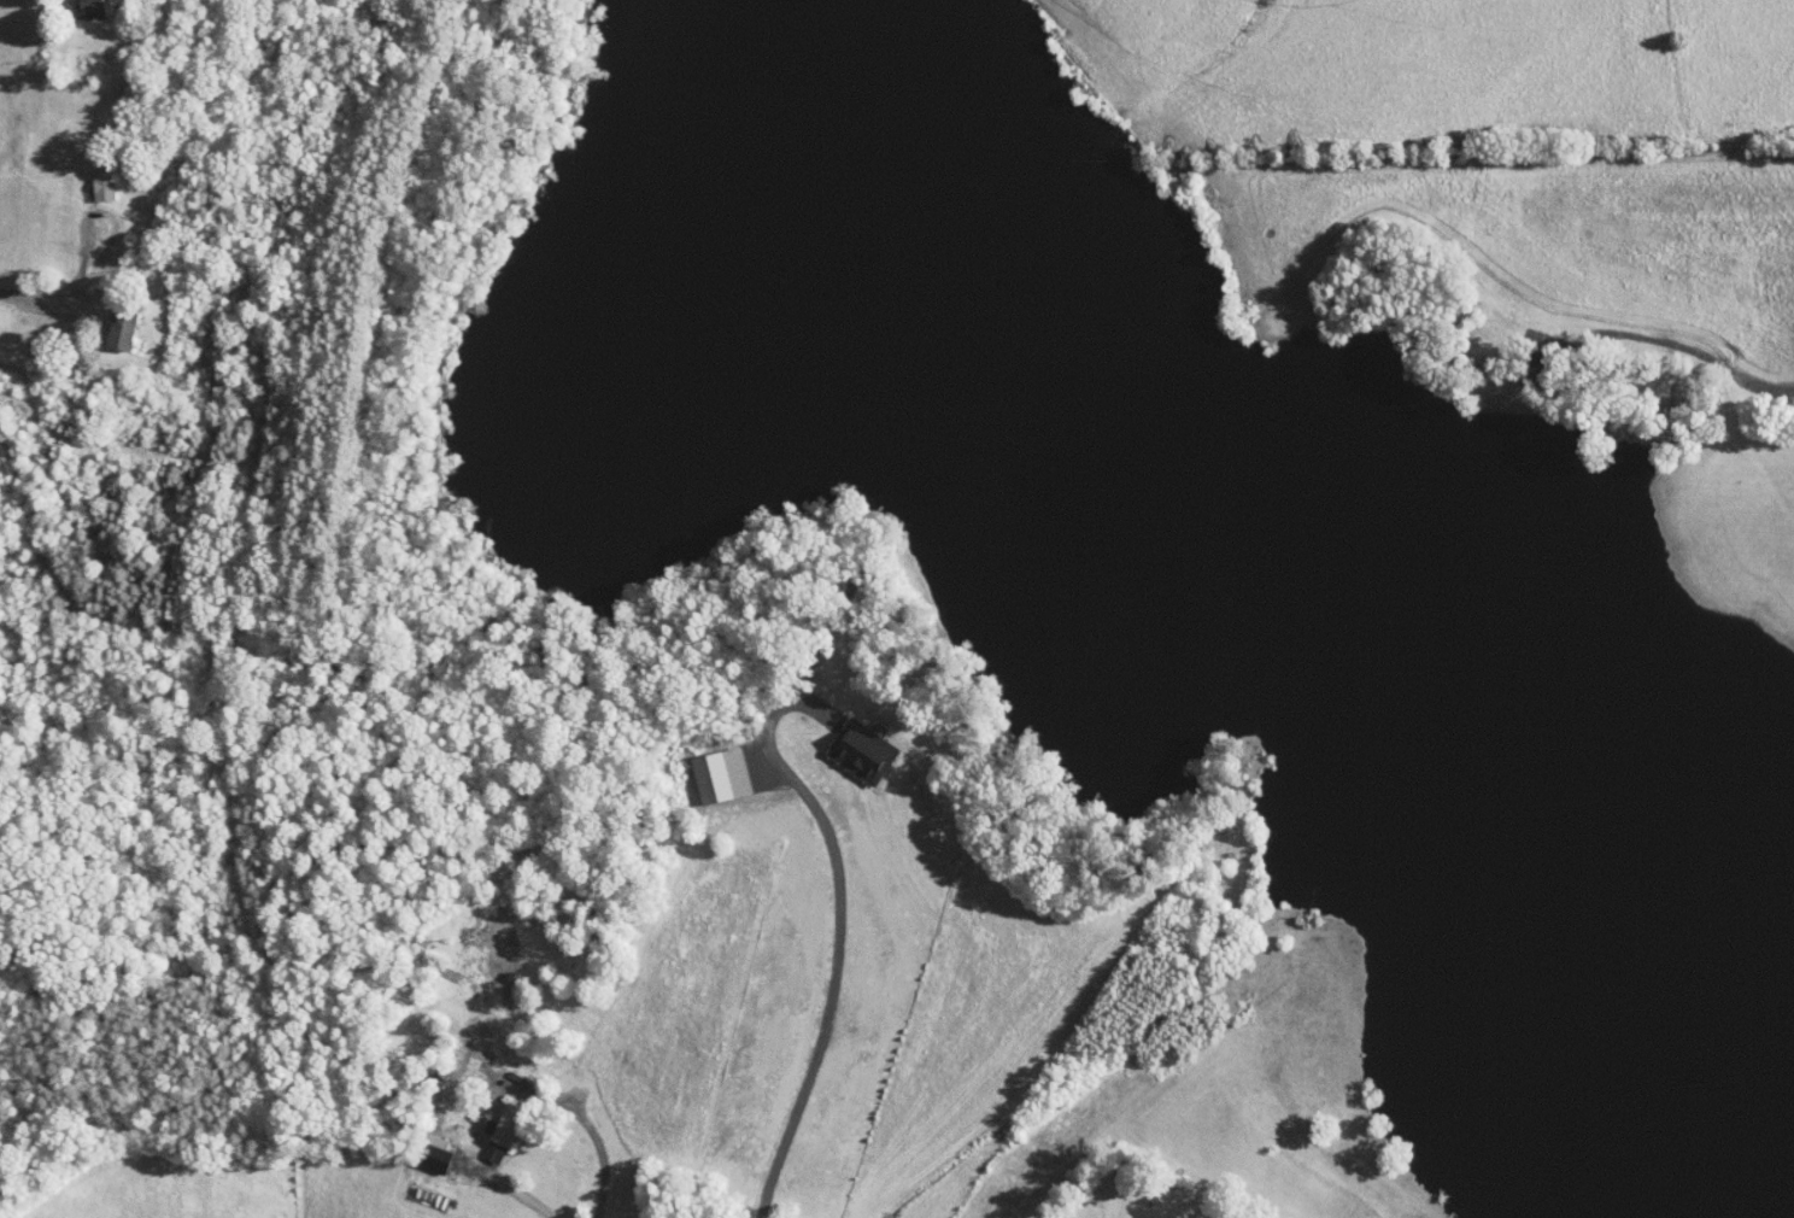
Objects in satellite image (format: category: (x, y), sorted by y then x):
building: (76, 4)
building: (88, 174)
road: (59, 271)
road: (6, 286)
building: (106, 321)
building: (848, 743)
building: (705, 767)
road: (839, 943)
building: (459, 1061)
building: (486, 1129)
road: (593, 1132)
road: (505, 1182)

